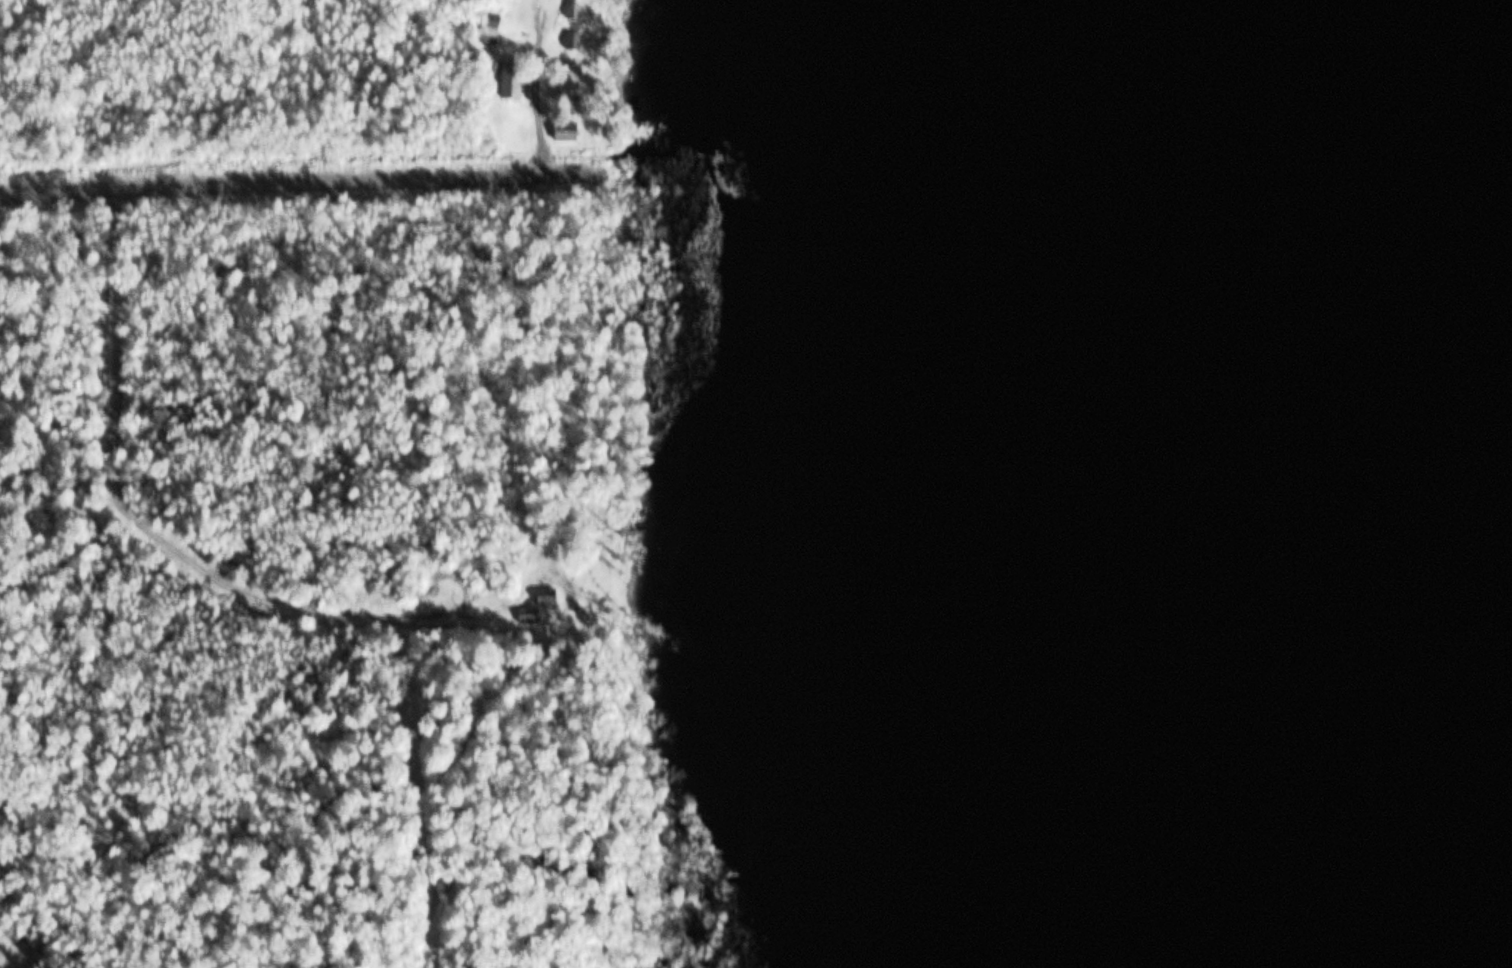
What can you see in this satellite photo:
building: (492, 28)
building: (514, 81)
road: (344, 190)
road: (179, 550)

